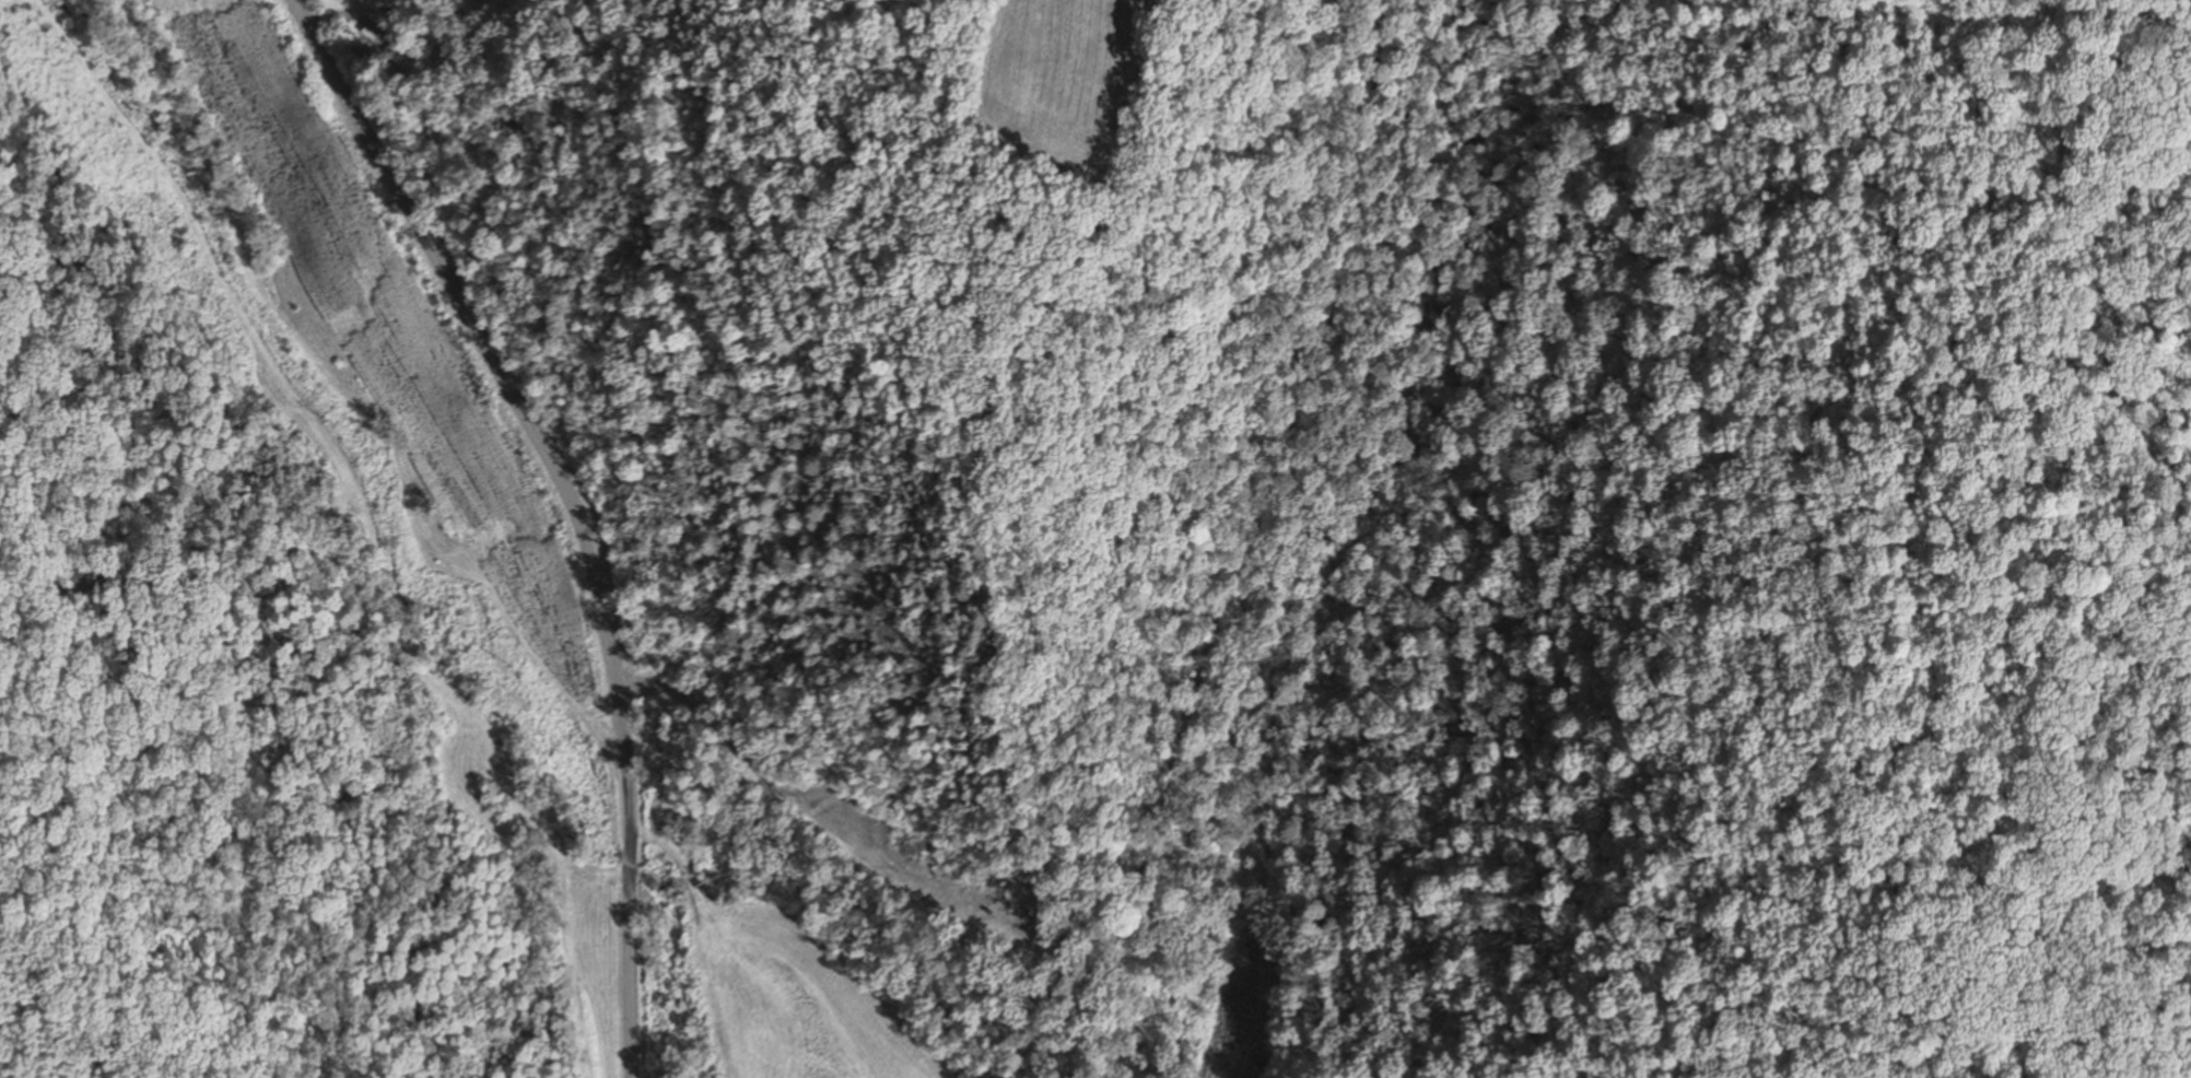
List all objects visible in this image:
building: (377, 34)
building: (362, 48)
road: (518, 399)
road: (631, 957)

